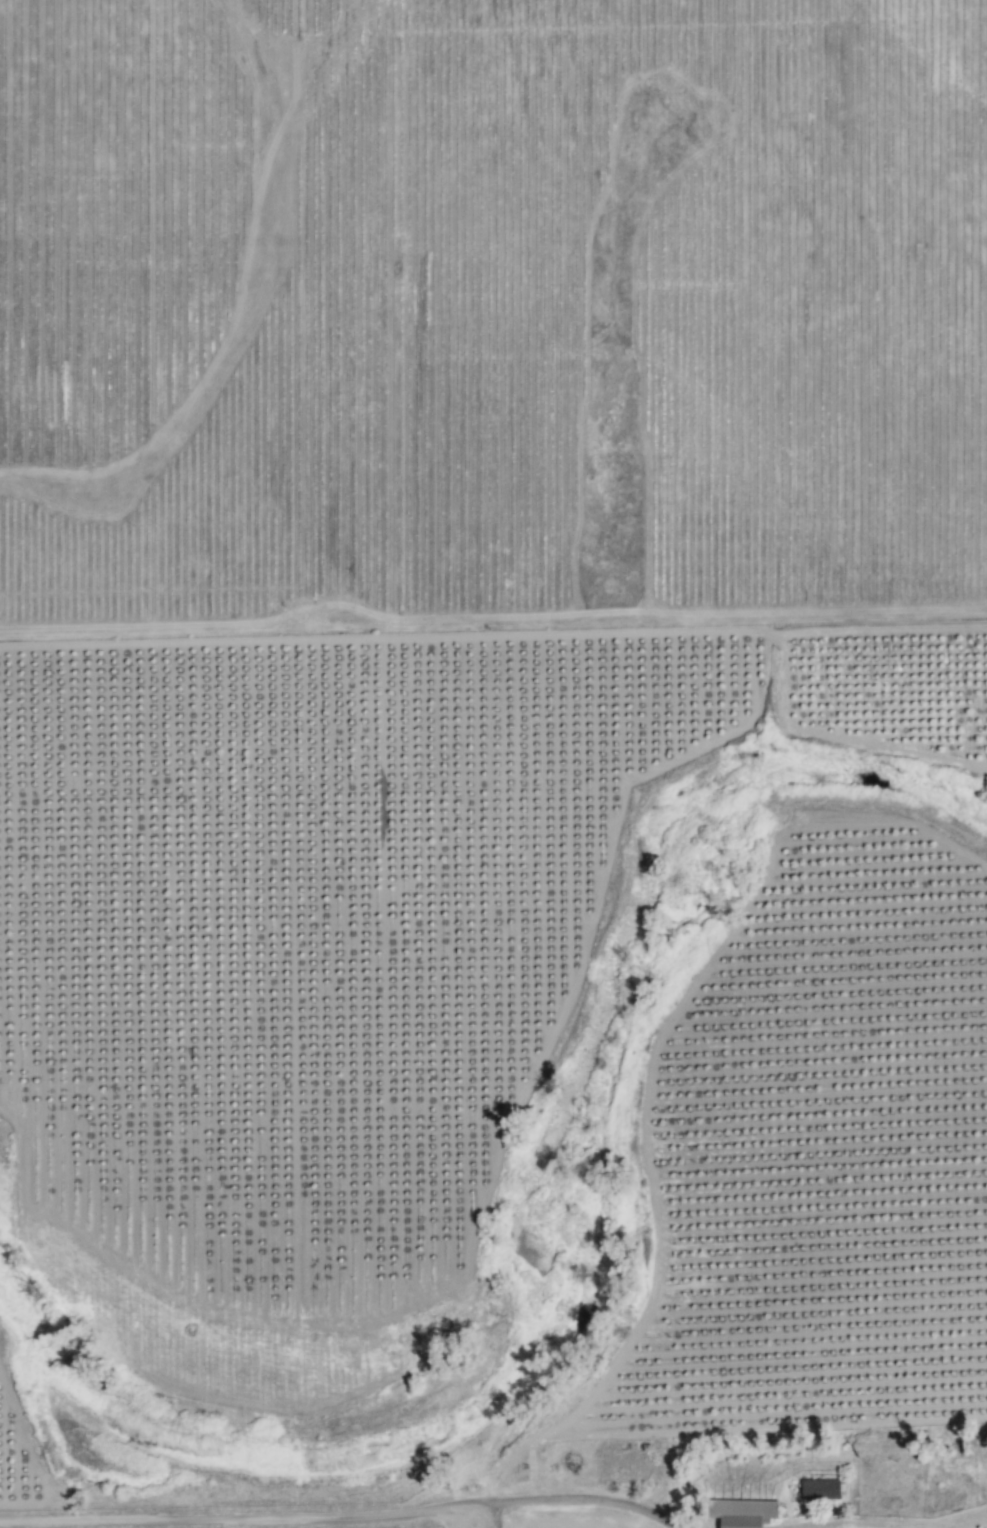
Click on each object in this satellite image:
building: (818, 1489)
road: (346, 1512)
building: (738, 1513)
road: (488, 1515)

